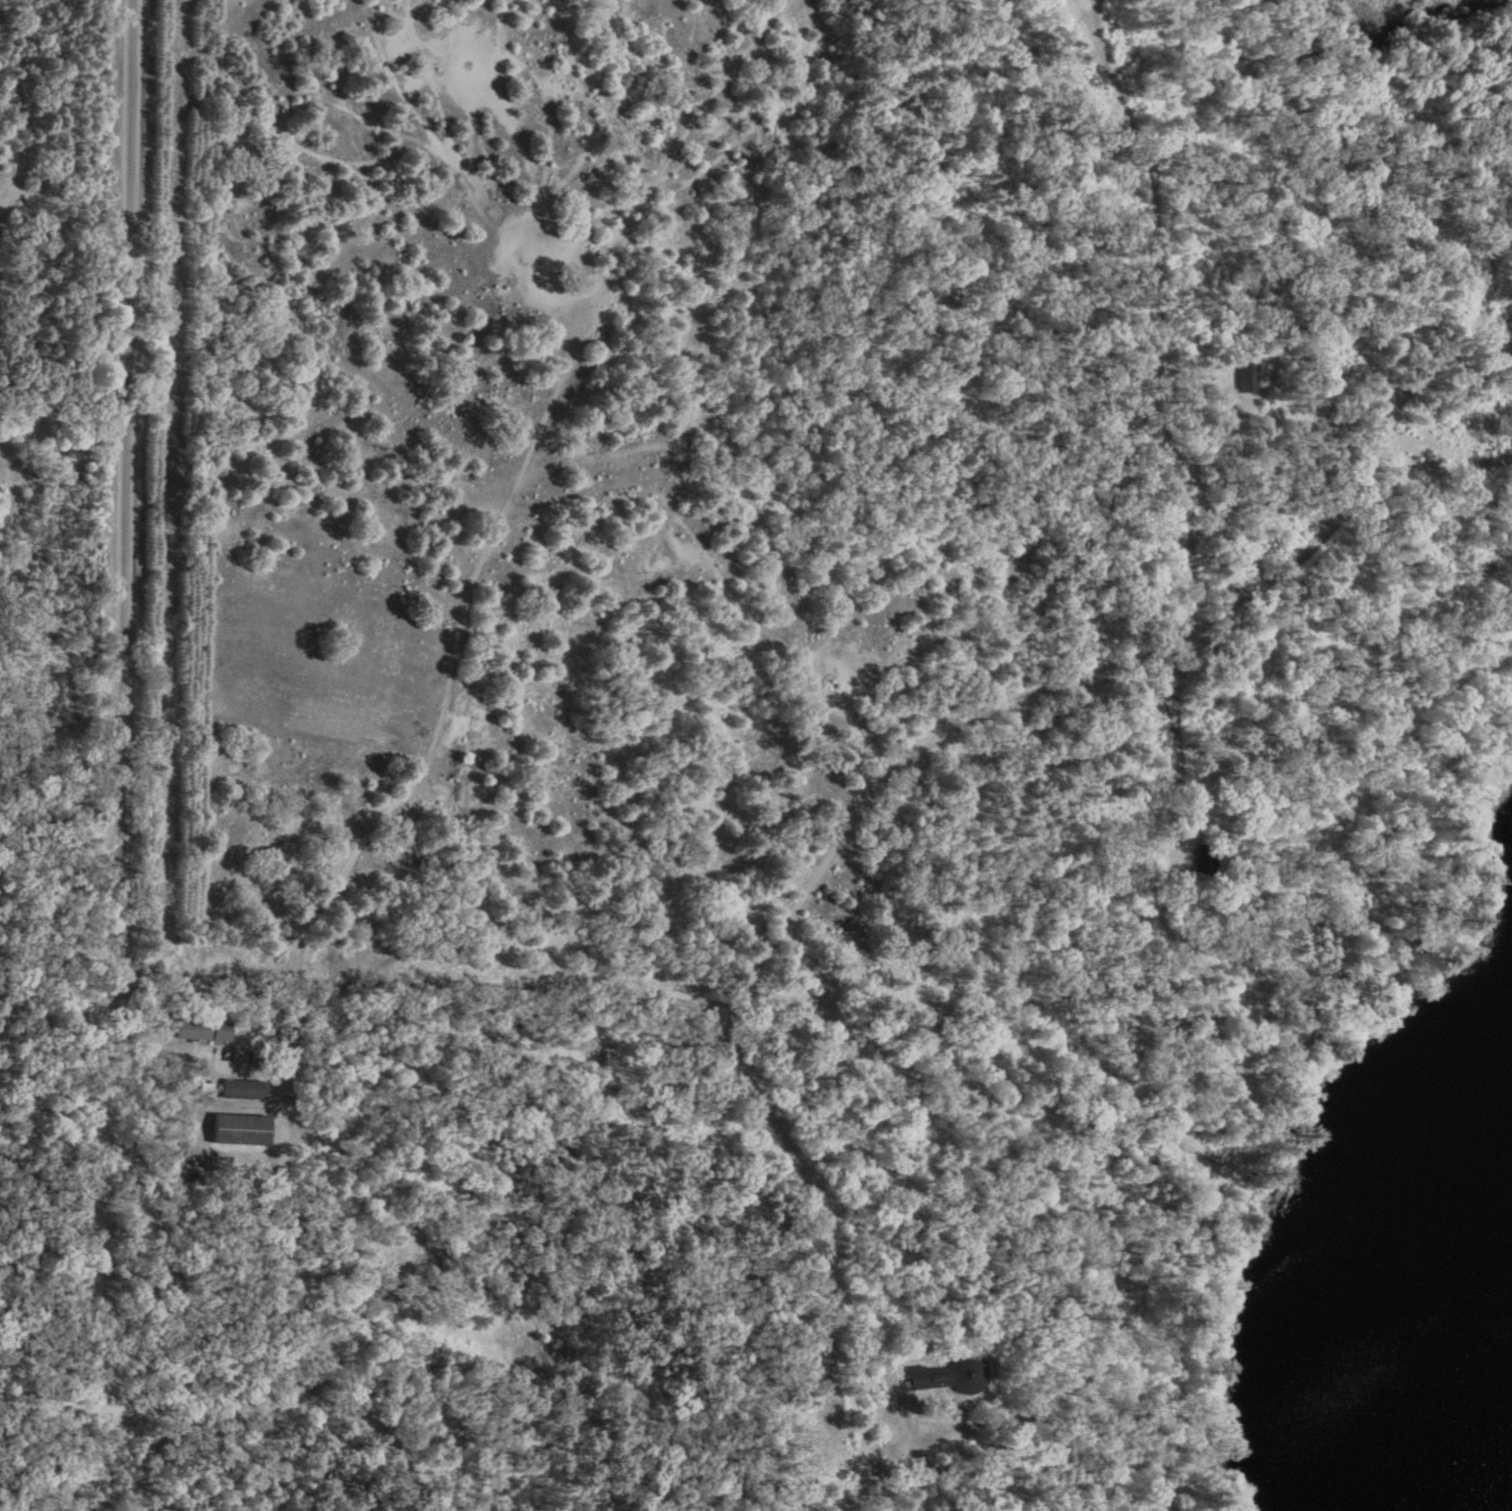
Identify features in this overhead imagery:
building: (1246, 380)
road: (1188, 509)
road: (1190, 683)
road: (116, 686)
road: (846, 856)
road: (574, 991)
building: (200, 1034)
road: (192, 1049)
building: (241, 1093)
road: (952, 1099)
building: (238, 1134)
road: (284, 1264)
road: (50, 1376)
building: (947, 1378)

